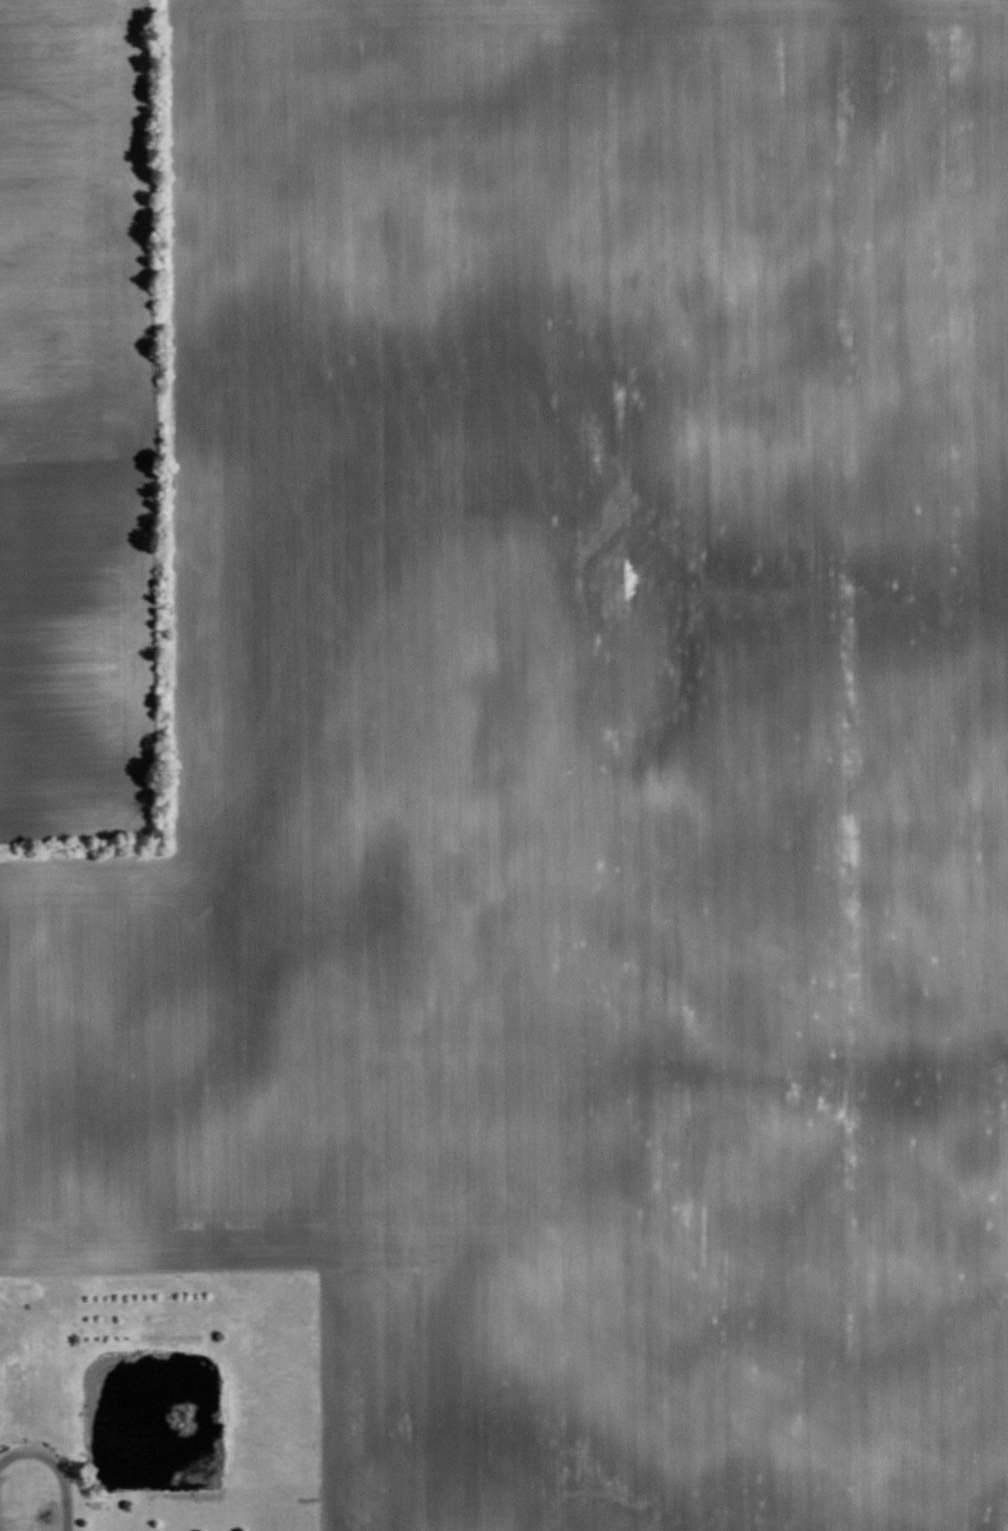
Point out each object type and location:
road: (59, 1463)

